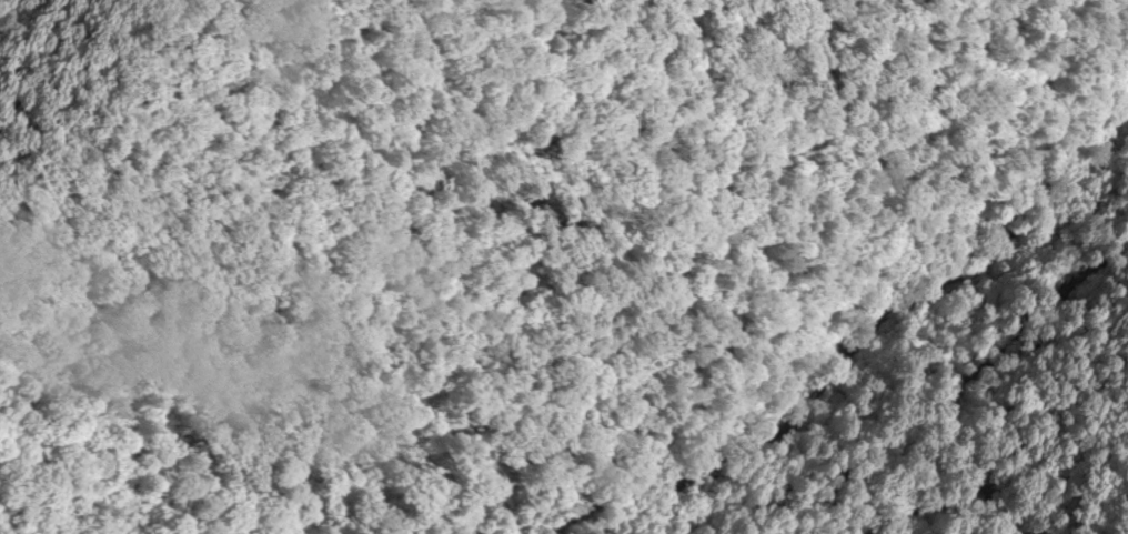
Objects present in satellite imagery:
road: (1091, 184)

